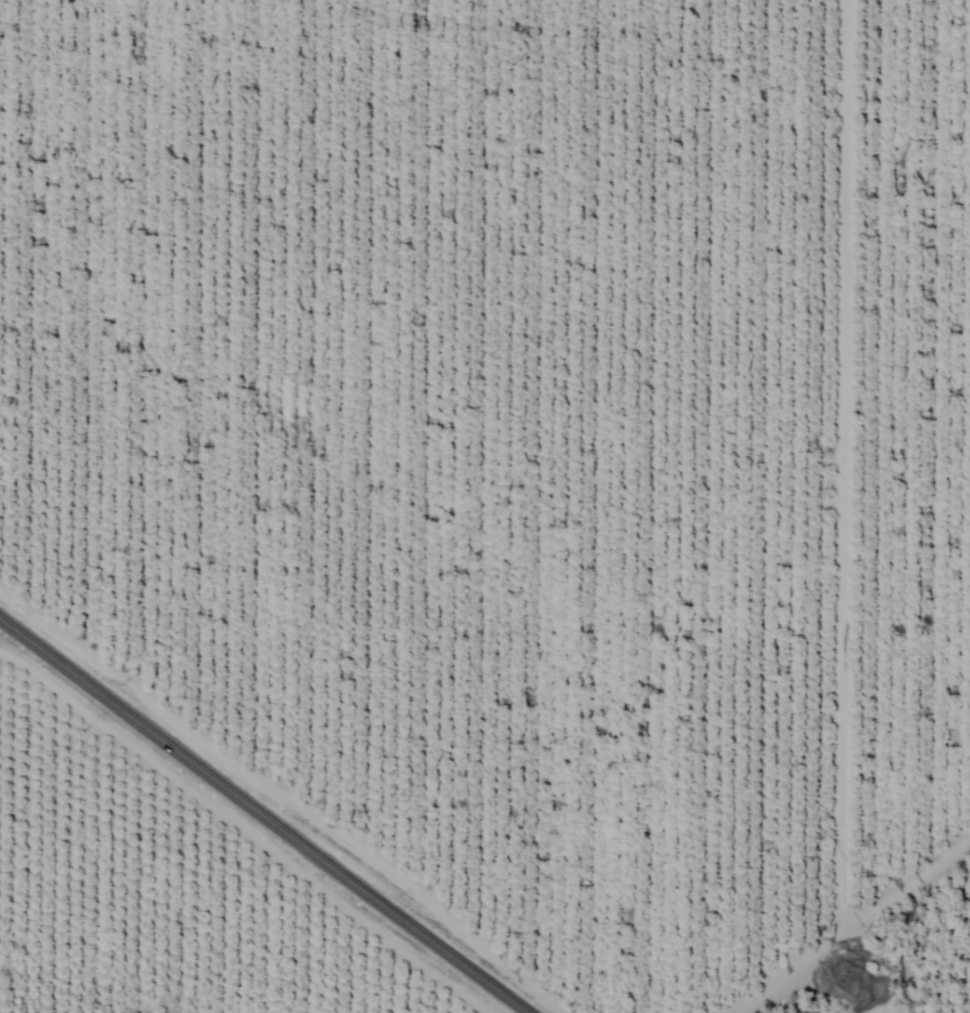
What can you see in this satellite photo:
road: (4, 624)
road: (266, 812)
railway: (232, 838)
crop: (152, 904)

